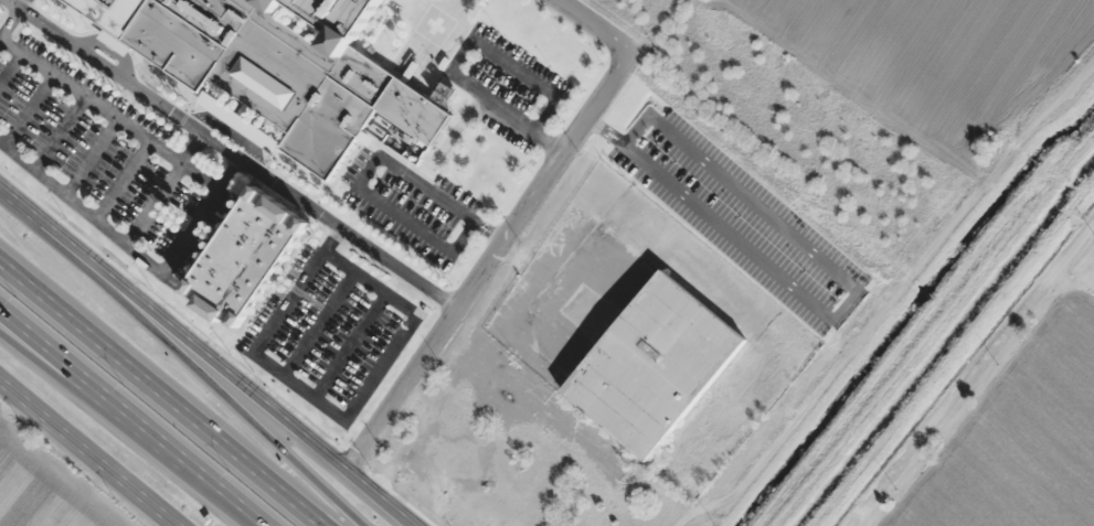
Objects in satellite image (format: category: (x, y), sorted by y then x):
helipad: (433, 32)
building: (286, 68)
road: (26, 213)
road: (508, 224)
building: (244, 255)
building: (652, 364)
road: (970, 374)
road: (211, 380)
road: (232, 380)
road: (71, 385)
road: (166, 388)
road: (125, 423)
road: (91, 452)

